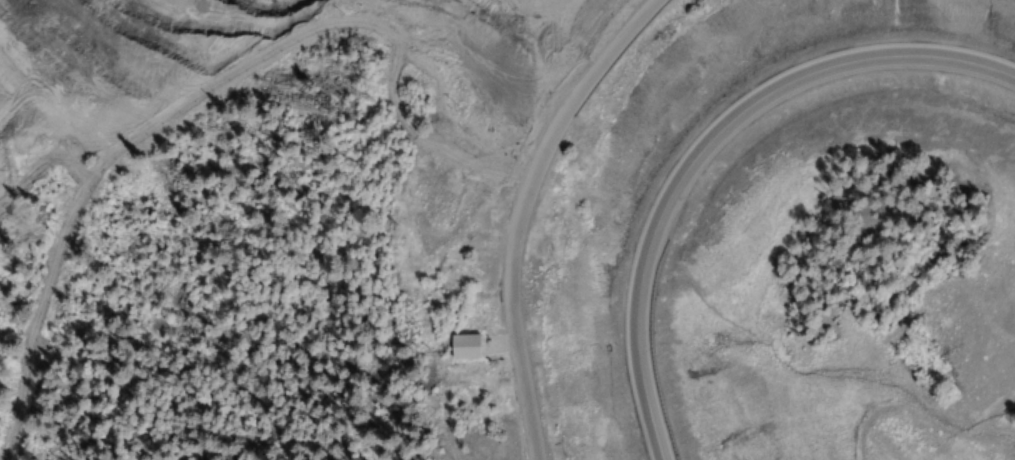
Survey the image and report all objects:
building: (545, 46)
road: (467, 47)
road: (705, 142)
building: (464, 347)

